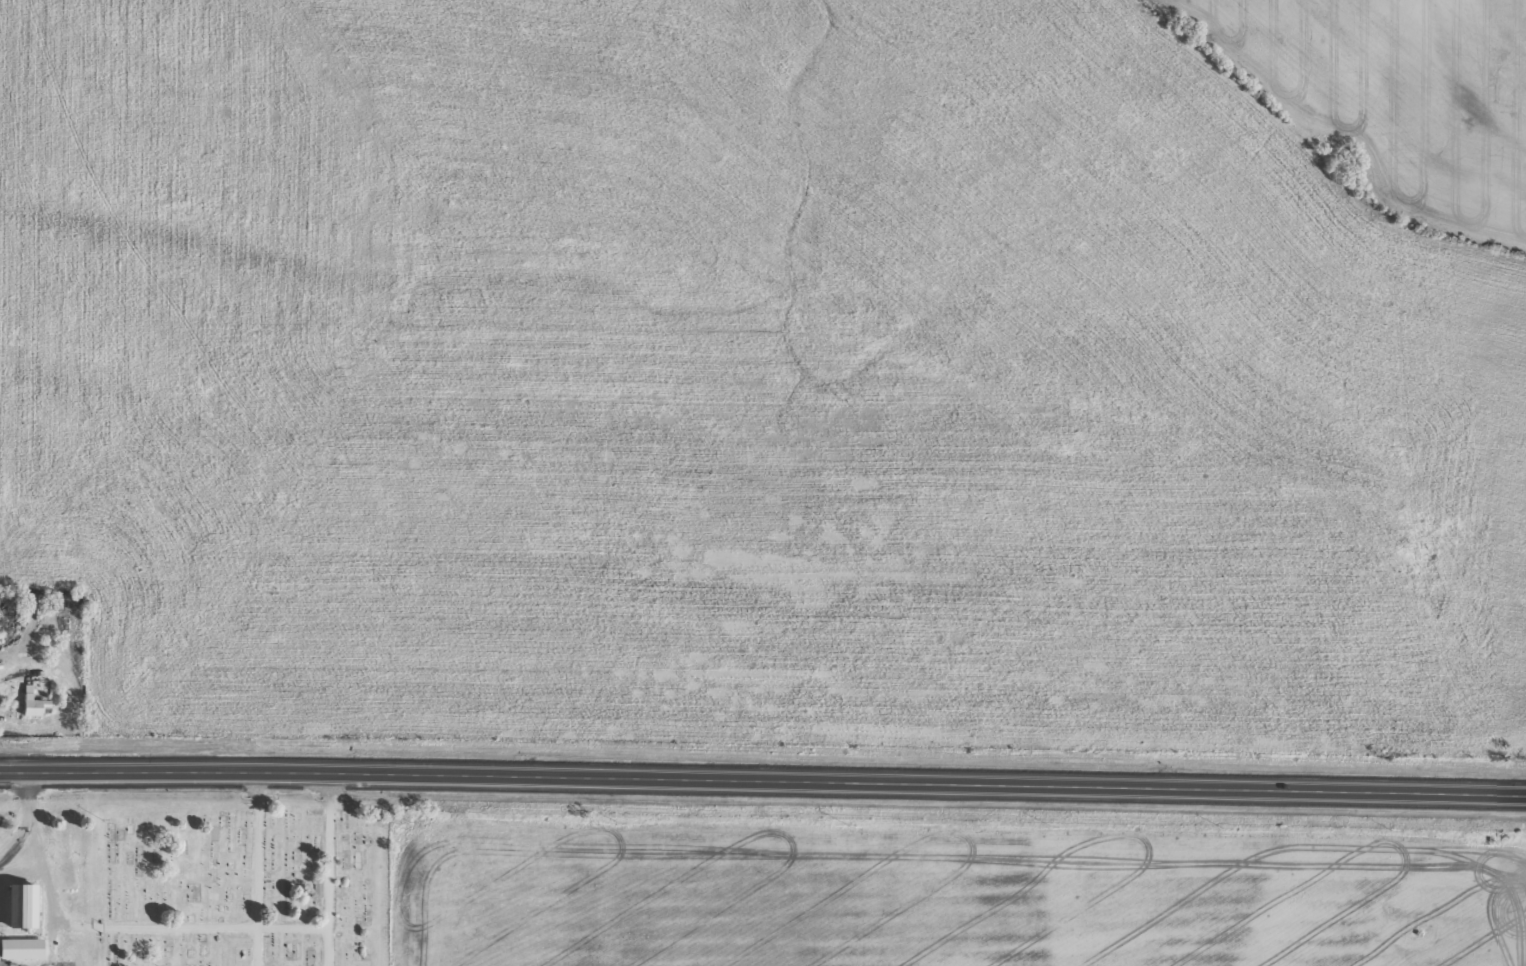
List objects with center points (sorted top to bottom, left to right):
building: (35, 712)
road: (763, 788)
road: (398, 873)
park: (248, 885)
building: (26, 915)
building: (24, 957)

